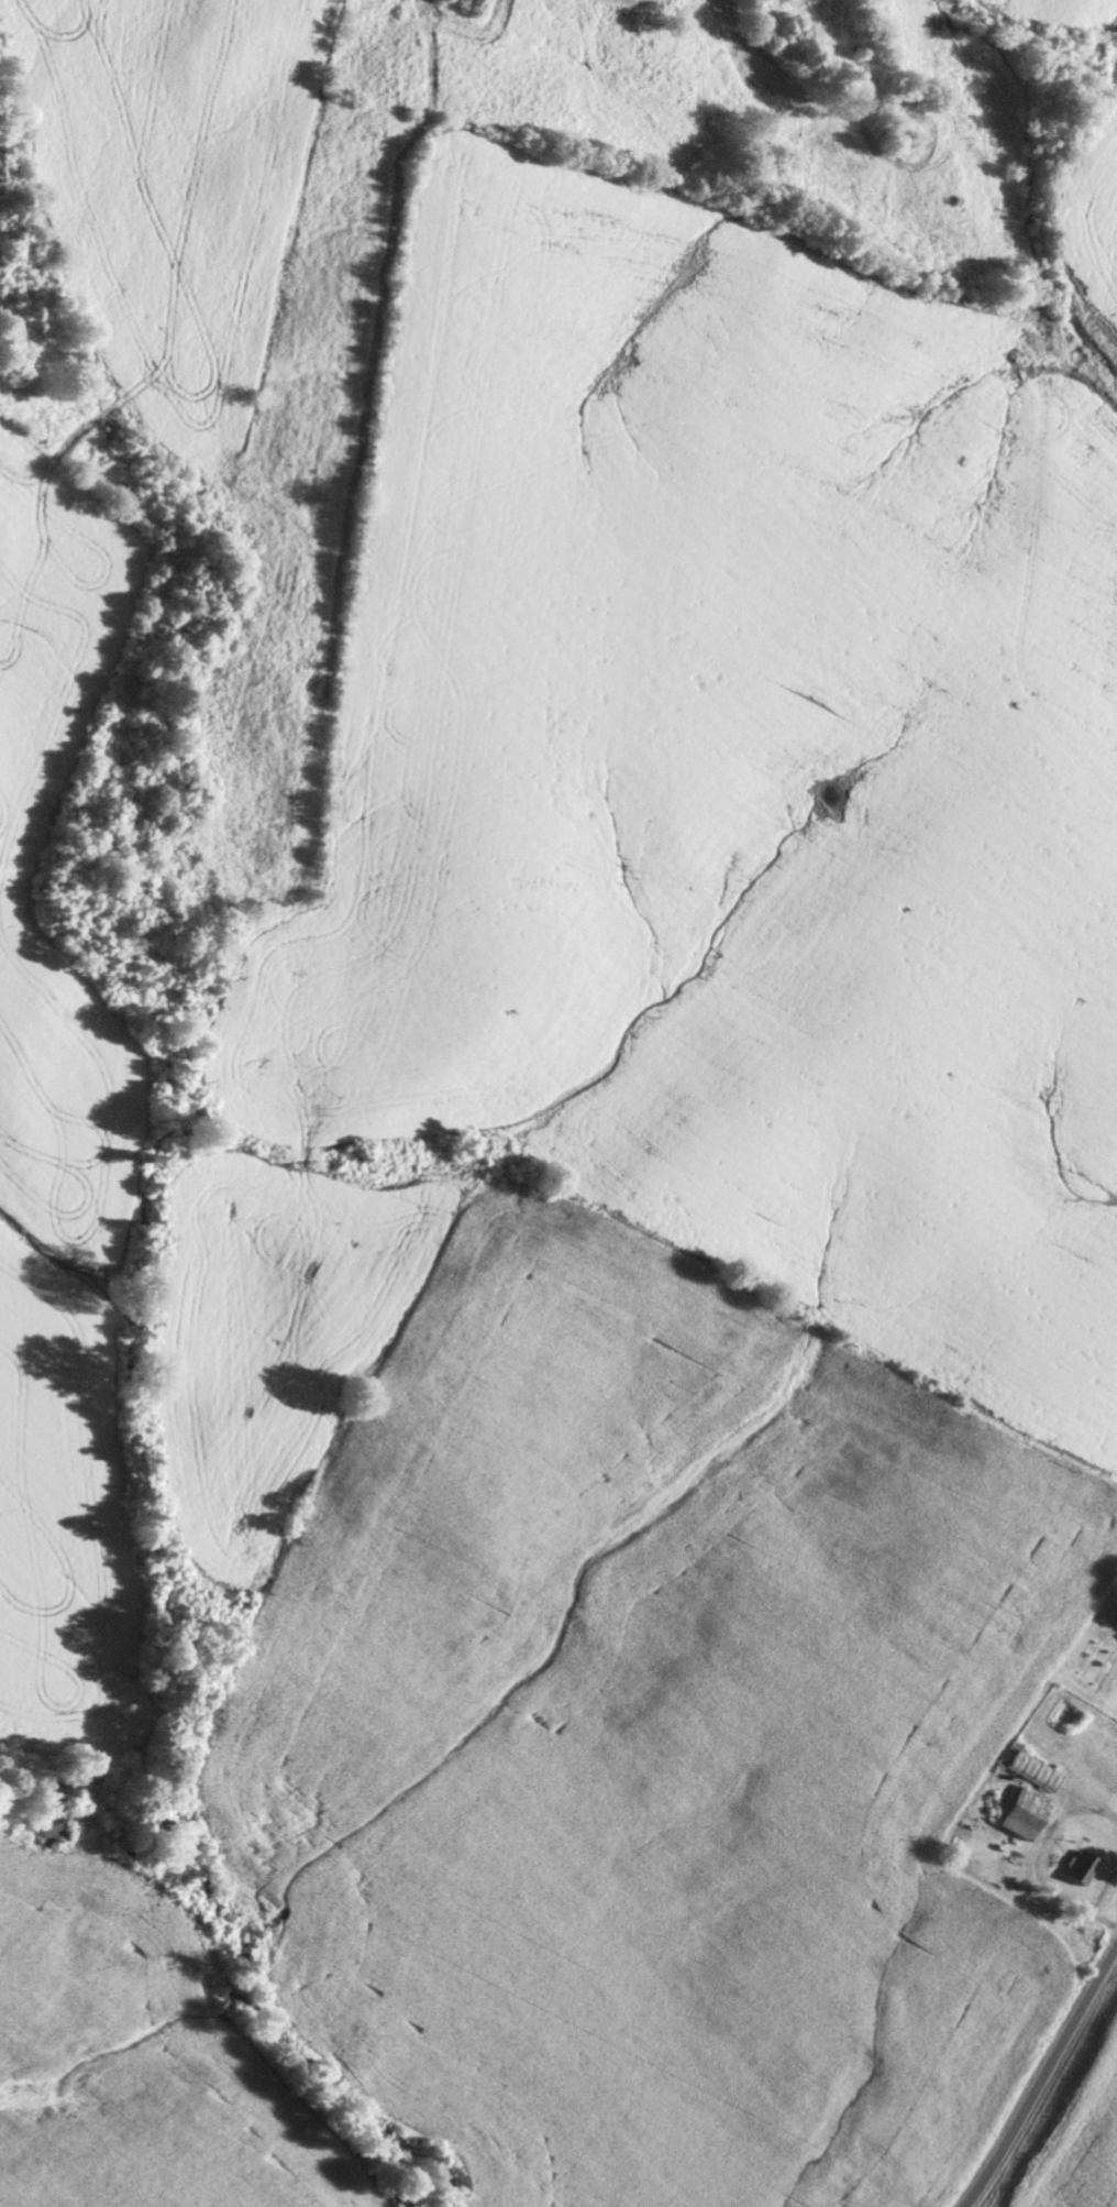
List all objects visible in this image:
building: (1024, 1815)
building: (1080, 1871)
road: (1044, 2082)

